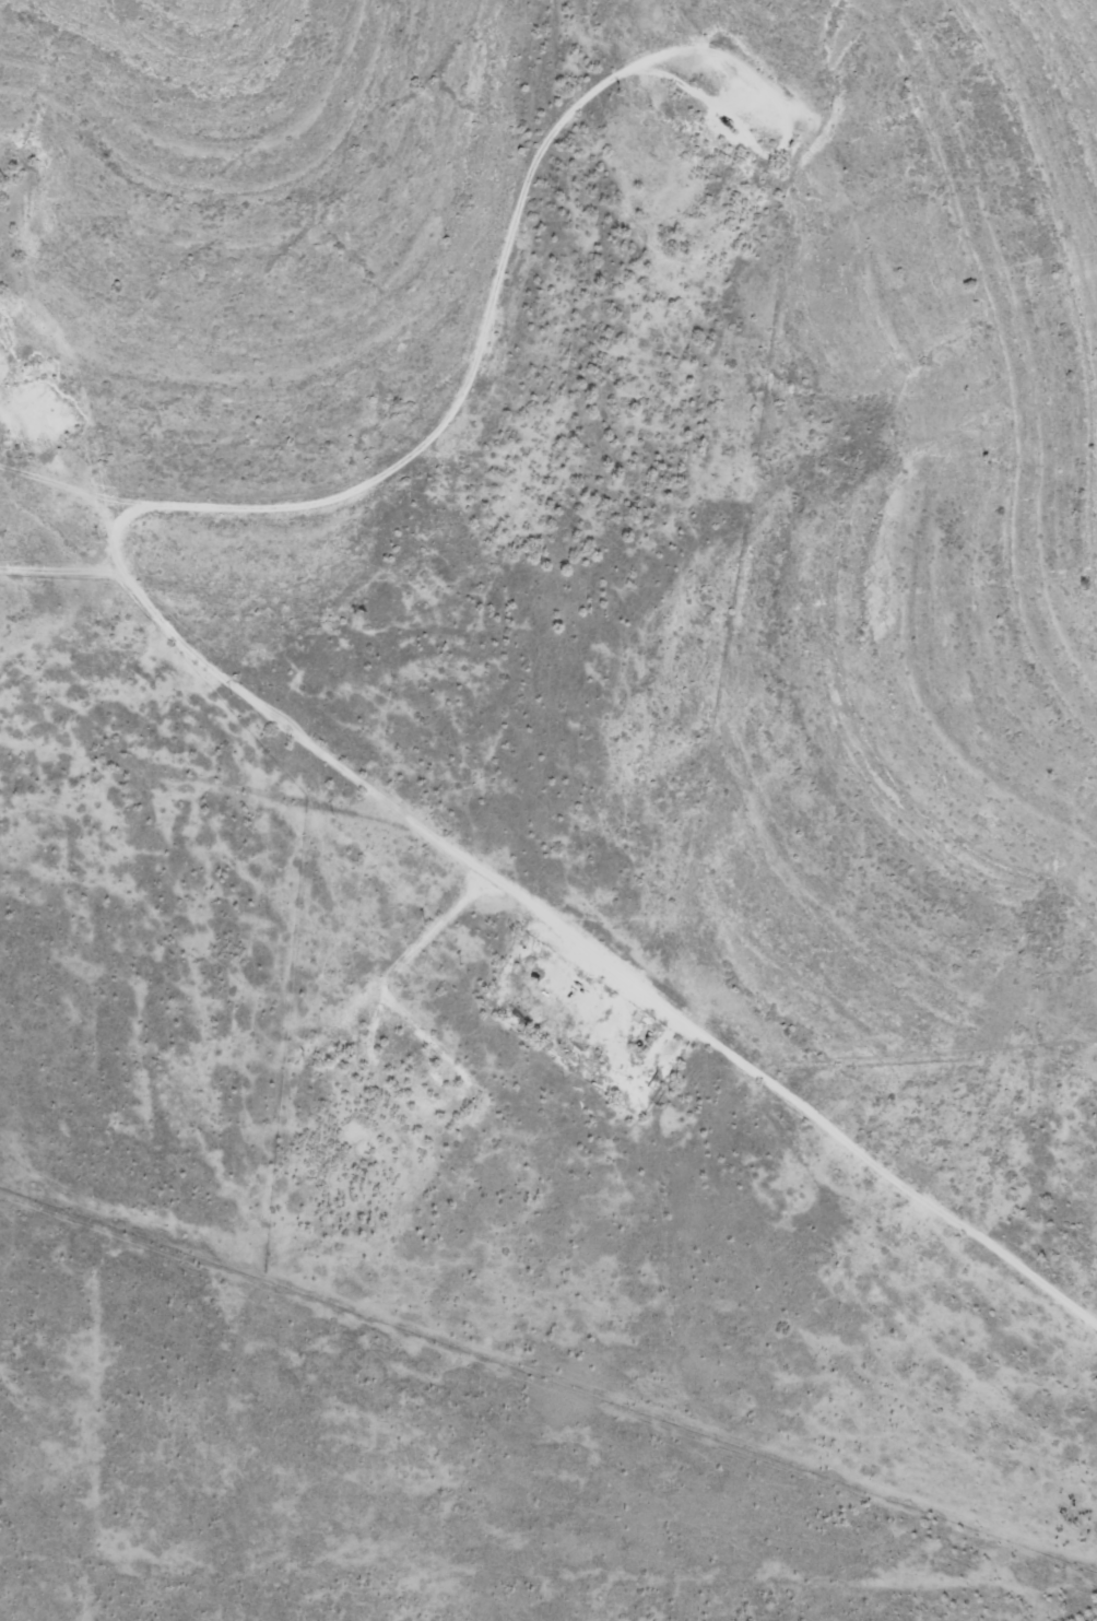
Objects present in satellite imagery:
road: (485, 955)

